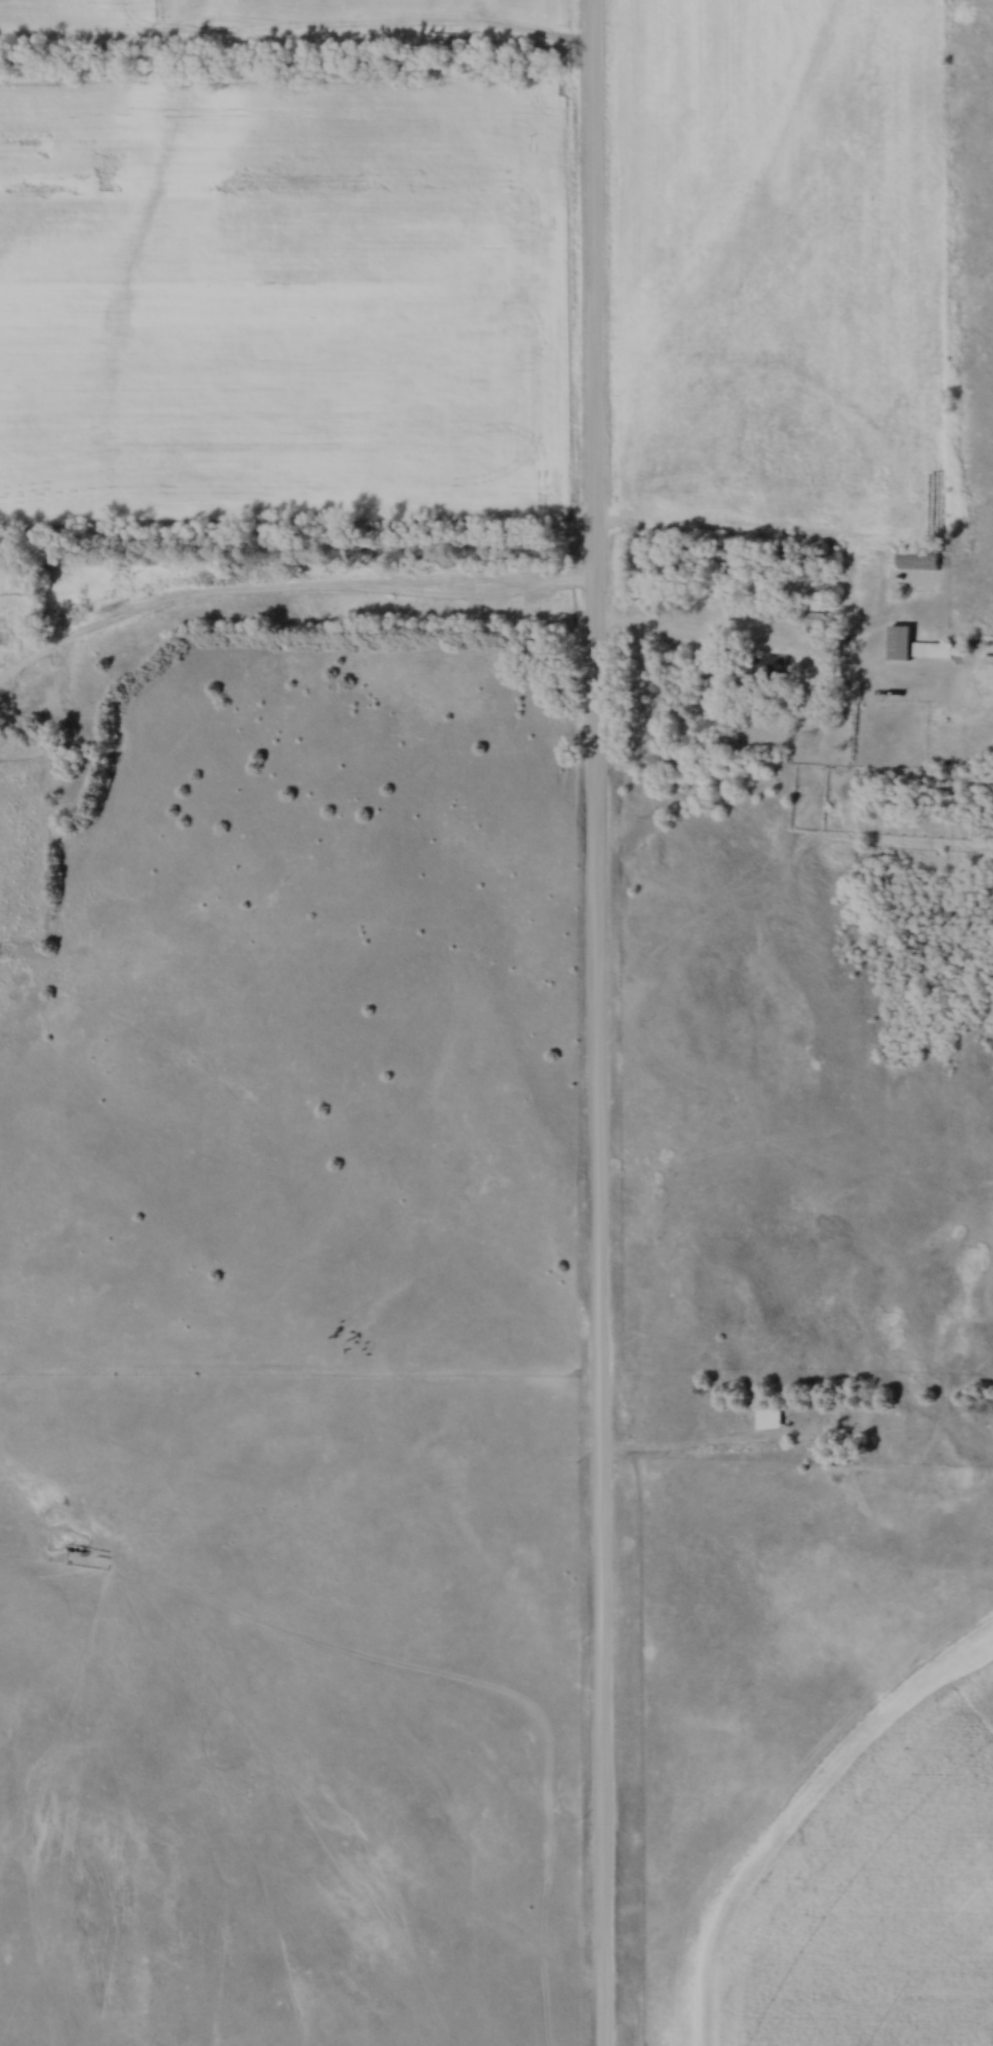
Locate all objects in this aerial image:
building: (635, 496)
building: (915, 559)
road: (284, 585)
building: (813, 625)
road: (741, 638)
building: (897, 641)
building: (930, 649)
road: (597, 1022)
building: (768, 1418)
road: (689, 1440)

